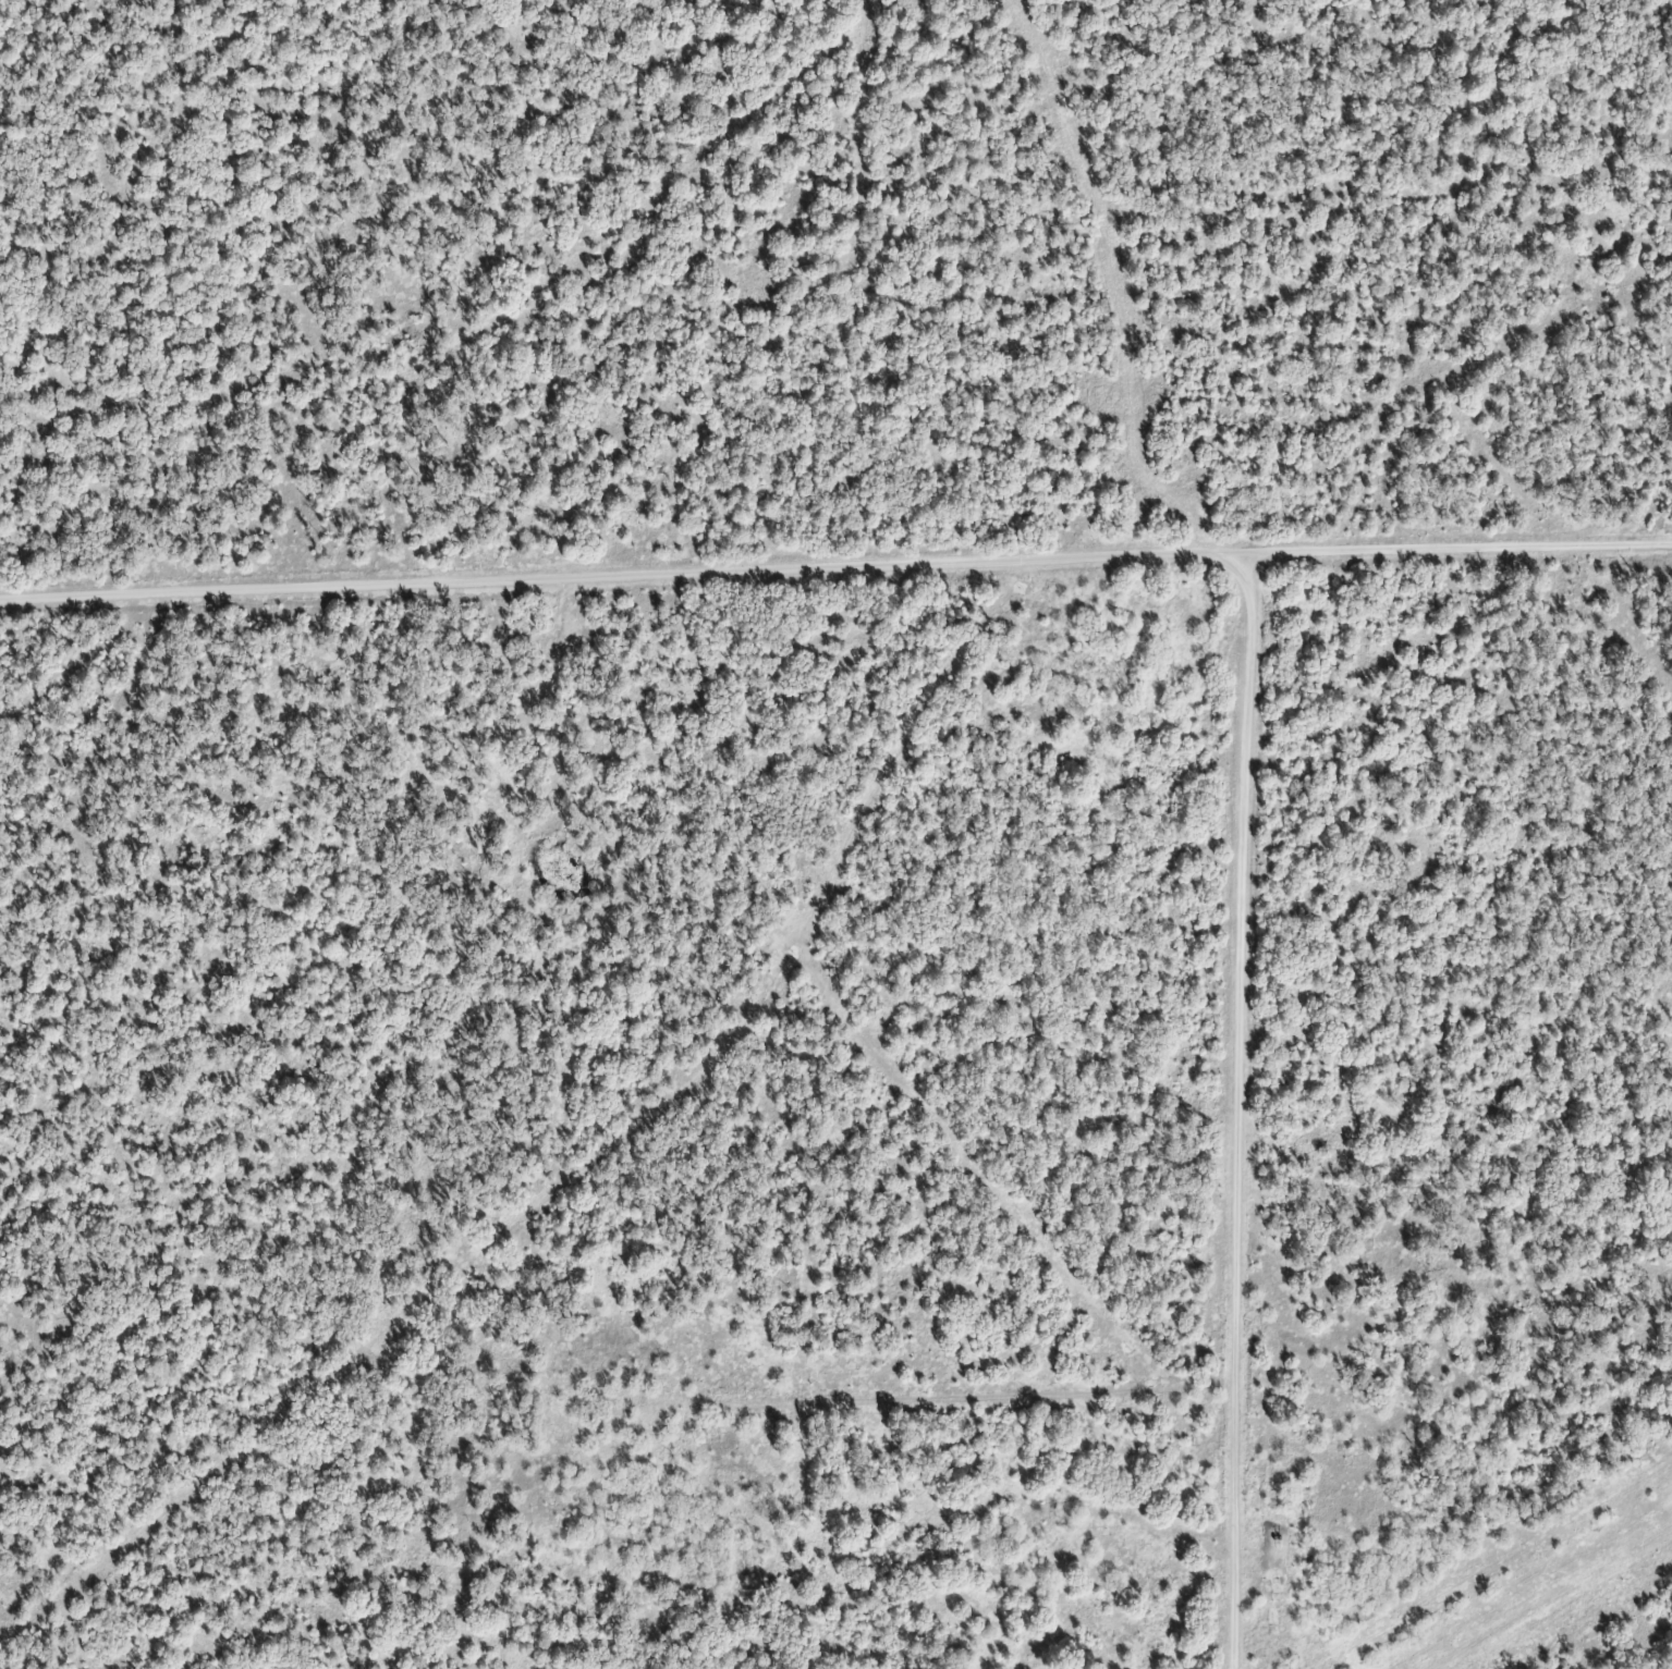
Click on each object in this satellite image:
road: (835, 563)
road: (1243, 1112)

